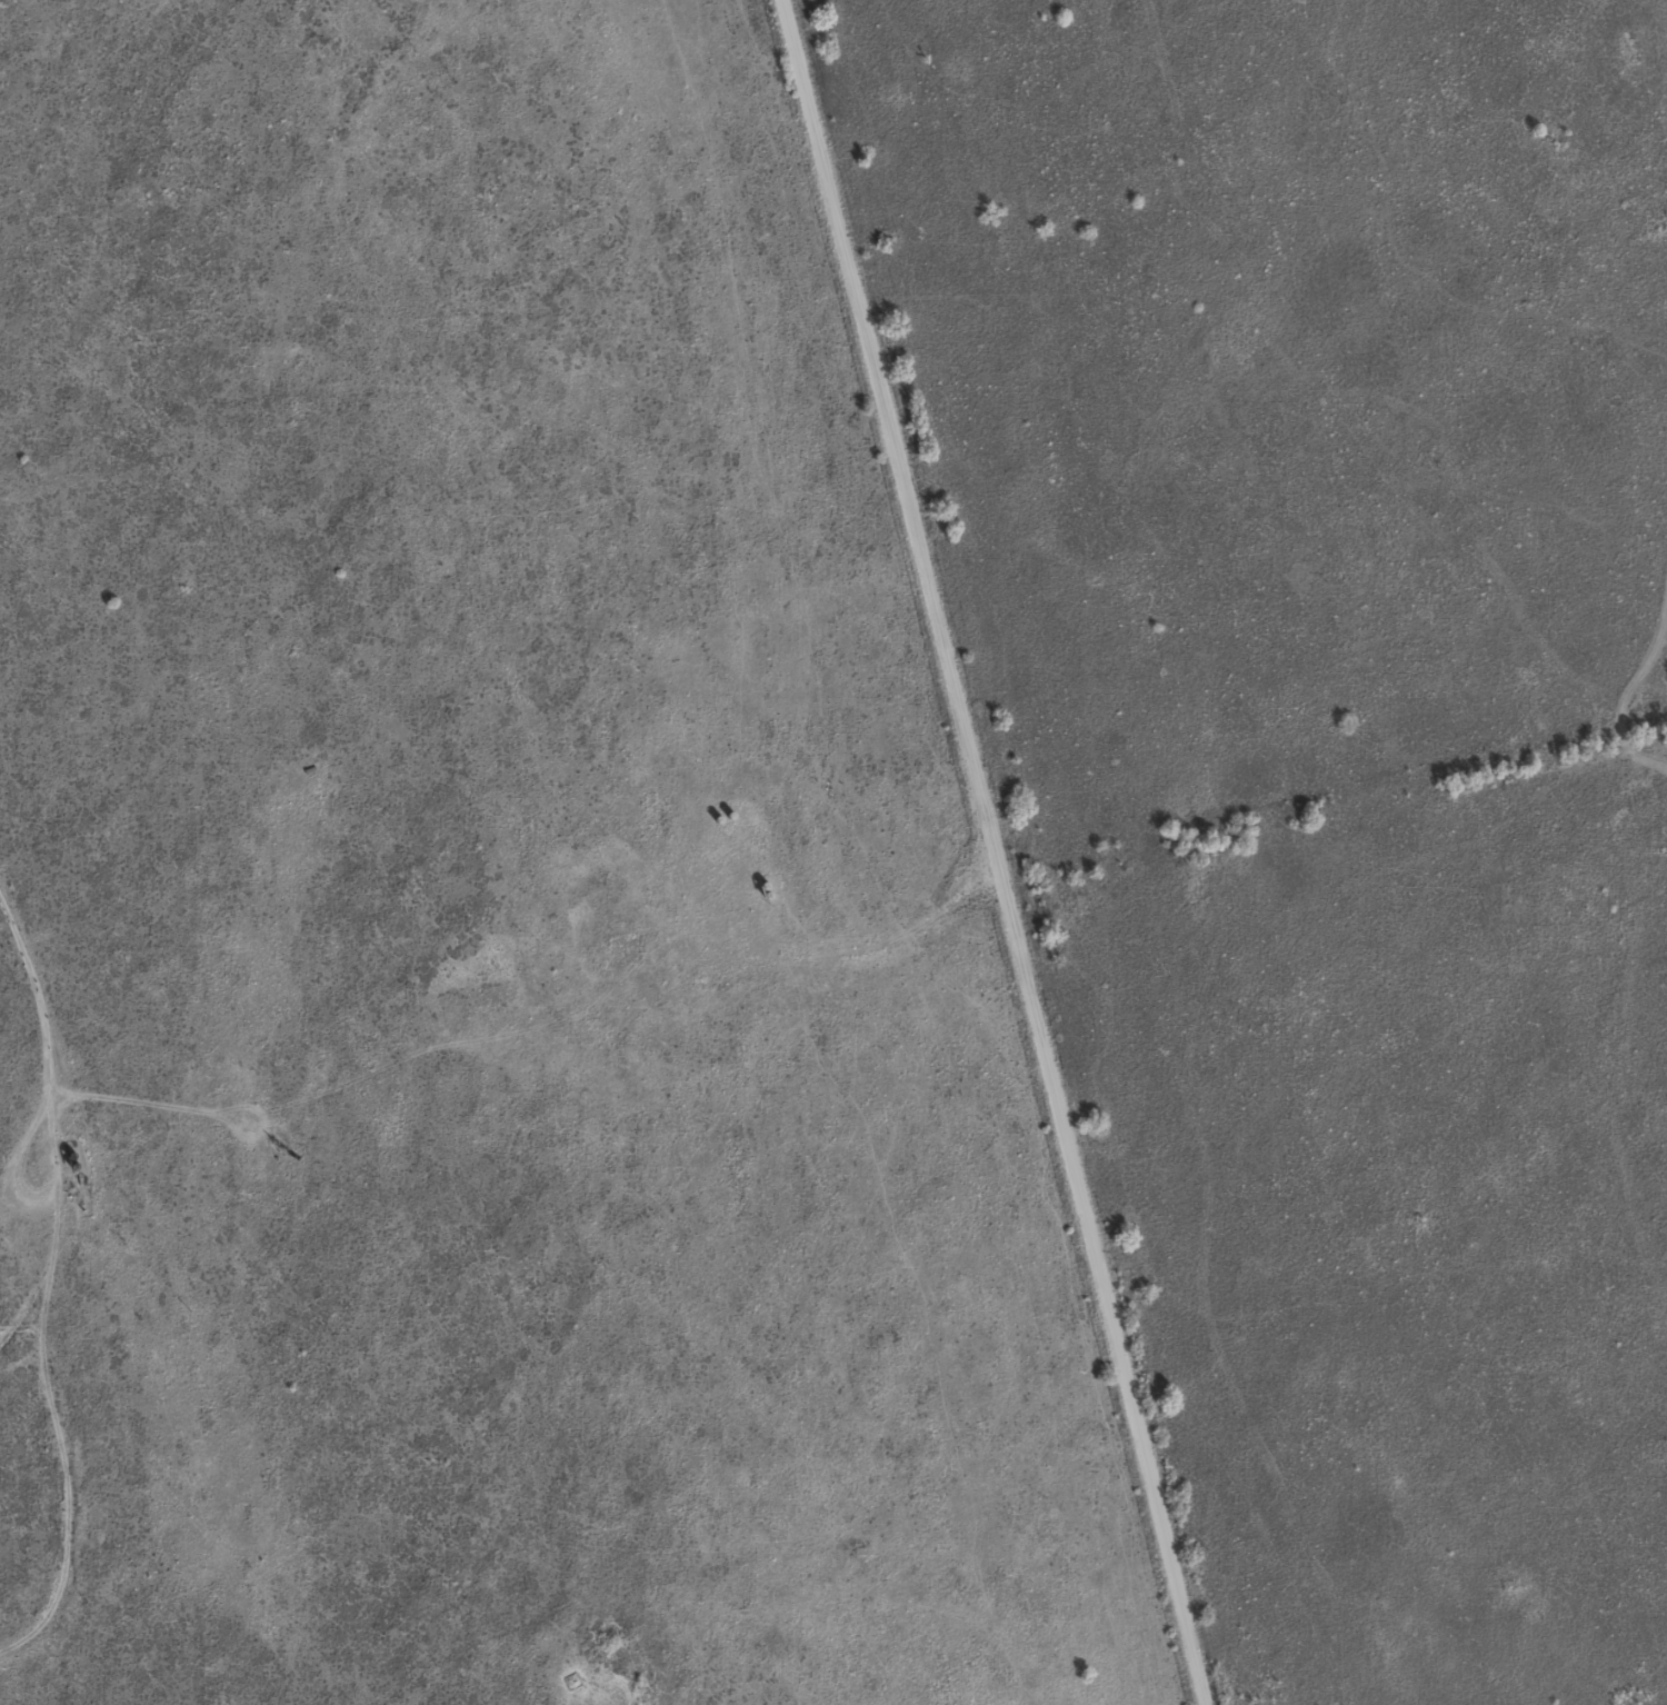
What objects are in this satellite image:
road: (1628, 690)
road: (990, 851)
road: (32, 1000)
road: (540, 1026)
road: (51, 1184)
road: (22, 1303)
road: (61, 1469)

